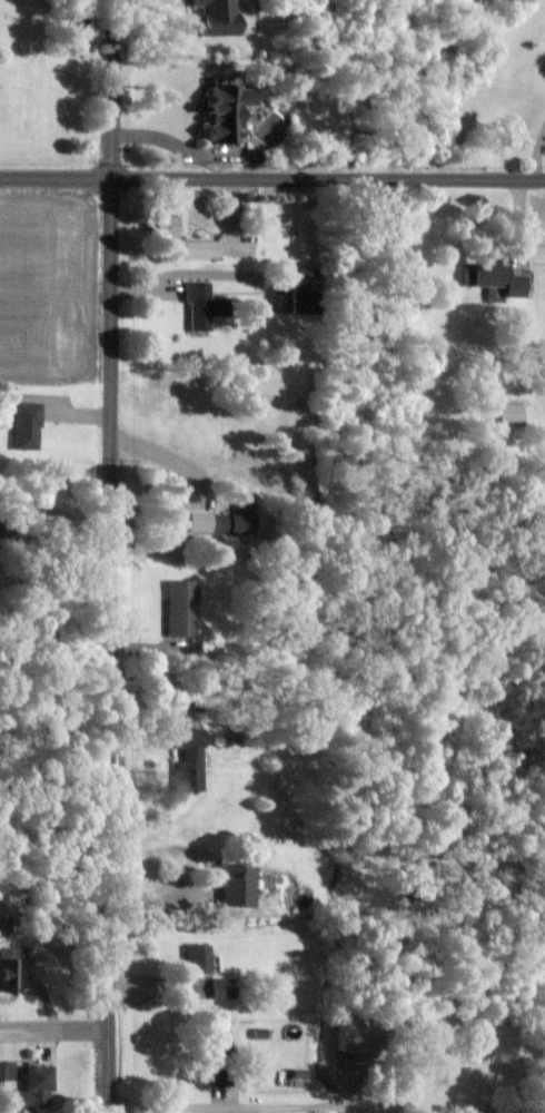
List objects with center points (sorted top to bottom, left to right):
building: (215, 17)
building: (225, 112)
road: (539, 156)
road: (271, 179)
building: (165, 227)
building: (200, 249)
building: (495, 277)
building: (202, 305)
building: (513, 414)
building: (27, 425)
building: (224, 522)
road: (107, 555)
road: (43, 585)
building: (180, 609)
building: (188, 762)
building: (231, 884)
building: (4, 917)
building: (198, 958)
building: (7, 971)
building: (222, 988)
road: (54, 1030)
building: (346, 1038)
building: (218, 1052)
building: (7, 1071)
building: (34, 1089)
road: (296, 1107)

